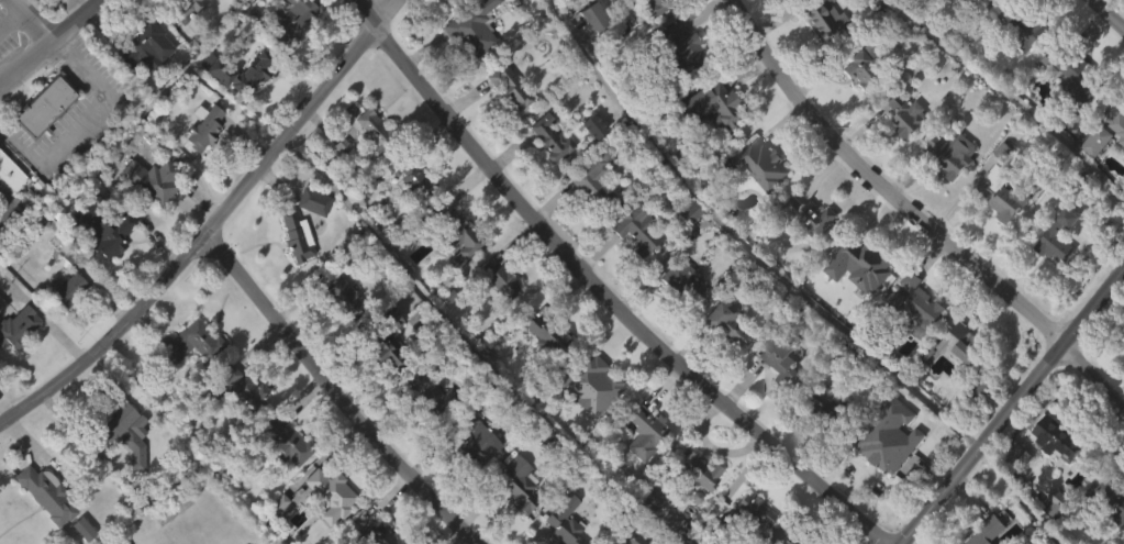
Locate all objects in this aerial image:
building: (777, 2)
building: (654, 5)
building: (180, 7)
building: (45, 8)
building: (230, 12)
building: (502, 12)
road: (1108, 14)
building: (588, 15)
building: (962, 15)
road: (9, 18)
building: (824, 19)
building: (1014, 20)
road: (29, 21)
building: (294, 22)
building: (647, 29)
building: (187, 32)
building: (141, 41)
road: (51, 43)
building: (679, 46)
building: (994, 49)
building: (588, 53)
building: (819, 55)
building: (861, 63)
building: (467, 65)
building: (1021, 68)
building: (251, 73)
building: (1078, 76)
building: (677, 79)
building: (142, 84)
building: (507, 87)
building: (858, 104)
building: (48, 106)
building: (709, 106)
building: (214, 108)
building: (904, 113)
road: (76, 116)
building: (1077, 121)
building: (1119, 124)
building: (504, 125)
building: (589, 125)
building: (203, 127)
building: (371, 129)
building: (547, 136)
building: (1099, 140)
building: (1123, 141)
building: (708, 143)
building: (40, 144)
building: (901, 152)
building: (955, 154)
building: (199, 163)
building: (760, 164)
building: (367, 166)
building: (1116, 166)
building: (13, 169)
building: (545, 174)
building: (148, 177)
building: (408, 177)
building: (591, 177)
building: (1092, 178)
building: (949, 190)
building: (1001, 191)
building: (311, 200)
building: (756, 201)
building: (8, 212)
building: (810, 214)
building: (411, 215)
building: (147, 217)
building: (587, 217)
road: (915, 217)
building: (105, 224)
road: (212, 225)
building: (635, 229)
building: (997, 230)
building: (457, 234)
building: (294, 235)
building: (309, 237)
building: (1060, 237)
road: (745, 242)
building: (685, 248)
building: (808, 253)
building: (861, 263)
building: (99, 265)
building: (633, 267)
building: (453, 271)
building: (292, 273)
building: (496, 278)
building: (680, 280)
building: (1051, 281)
building: (64, 289)
road: (599, 290)
building: (343, 298)
building: (856, 302)
building: (2, 304)
building: (916, 307)
building: (494, 318)
building: (680, 319)
building: (722, 323)
building: (63, 325)
building: (16, 327)
building: (542, 332)
building: (338, 335)
building: (382, 341)
building: (912, 342)
building: (961, 343)
building: (187, 344)
road: (474, 349)
building: (778, 359)
building: (721, 360)
building: (15, 364)
building: (542, 368)
building: (380, 375)
building: (1123, 378)
building: (186, 381)
building: (958, 381)
building: (586, 382)
building: (235, 387)
road: (334, 392)
building: (425, 396)
building: (980, 396)
building: (777, 399)
building: (832, 409)
road: (1013, 411)
building: (585, 421)
building: (115, 424)
building: (232, 424)
building: (639, 430)
building: (422, 431)
building: (1056, 438)
building: (471, 441)
building: (281, 443)
building: (825, 443)
building: (878, 451)
building: (121, 467)
building: (639, 469)
building: (693, 469)
building: (1053, 474)
building: (469, 477)
building: (279, 479)
building: (514, 489)
building: (49, 493)
building: (327, 493)
building: (653, 493)
building: (1112, 501)
building: (692, 507)
building: (1087, 507)
building: (746, 511)
building: (515, 518)
building: (561, 521)
building: (37, 525)
building: (325, 525)
building: (987, 530)
building: (1108, 530)
building: (374, 532)
building: (647, 534)
building: (620, 537)
building: (275, 539)
building: (743, 539)
building: (784, 541)
building: (806, 542)

